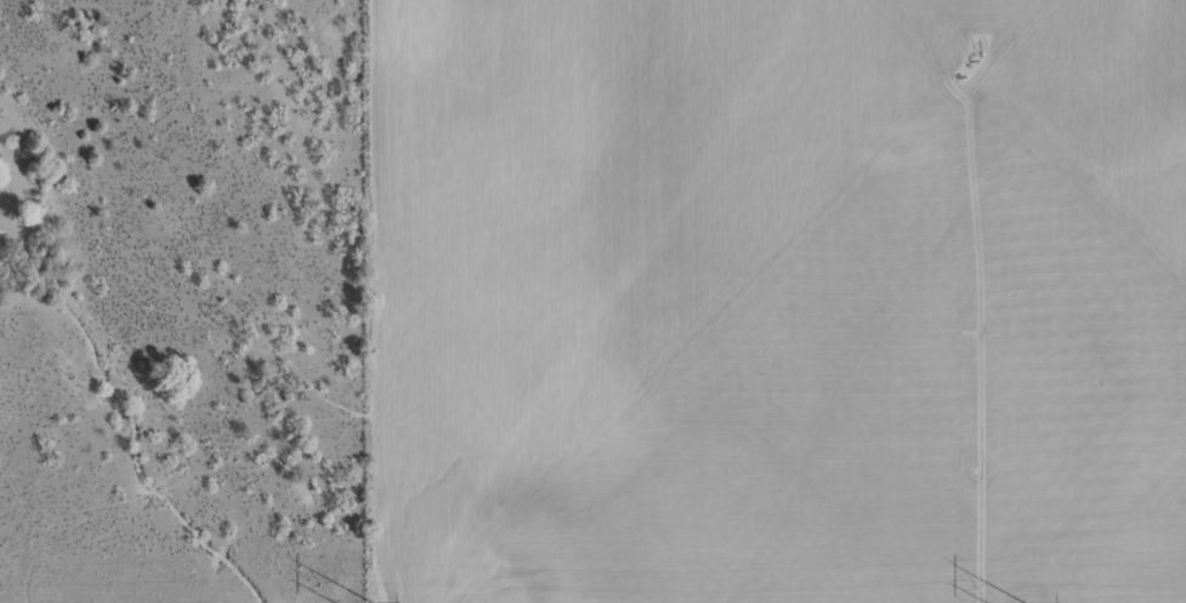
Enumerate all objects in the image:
crop: (592, 301)

